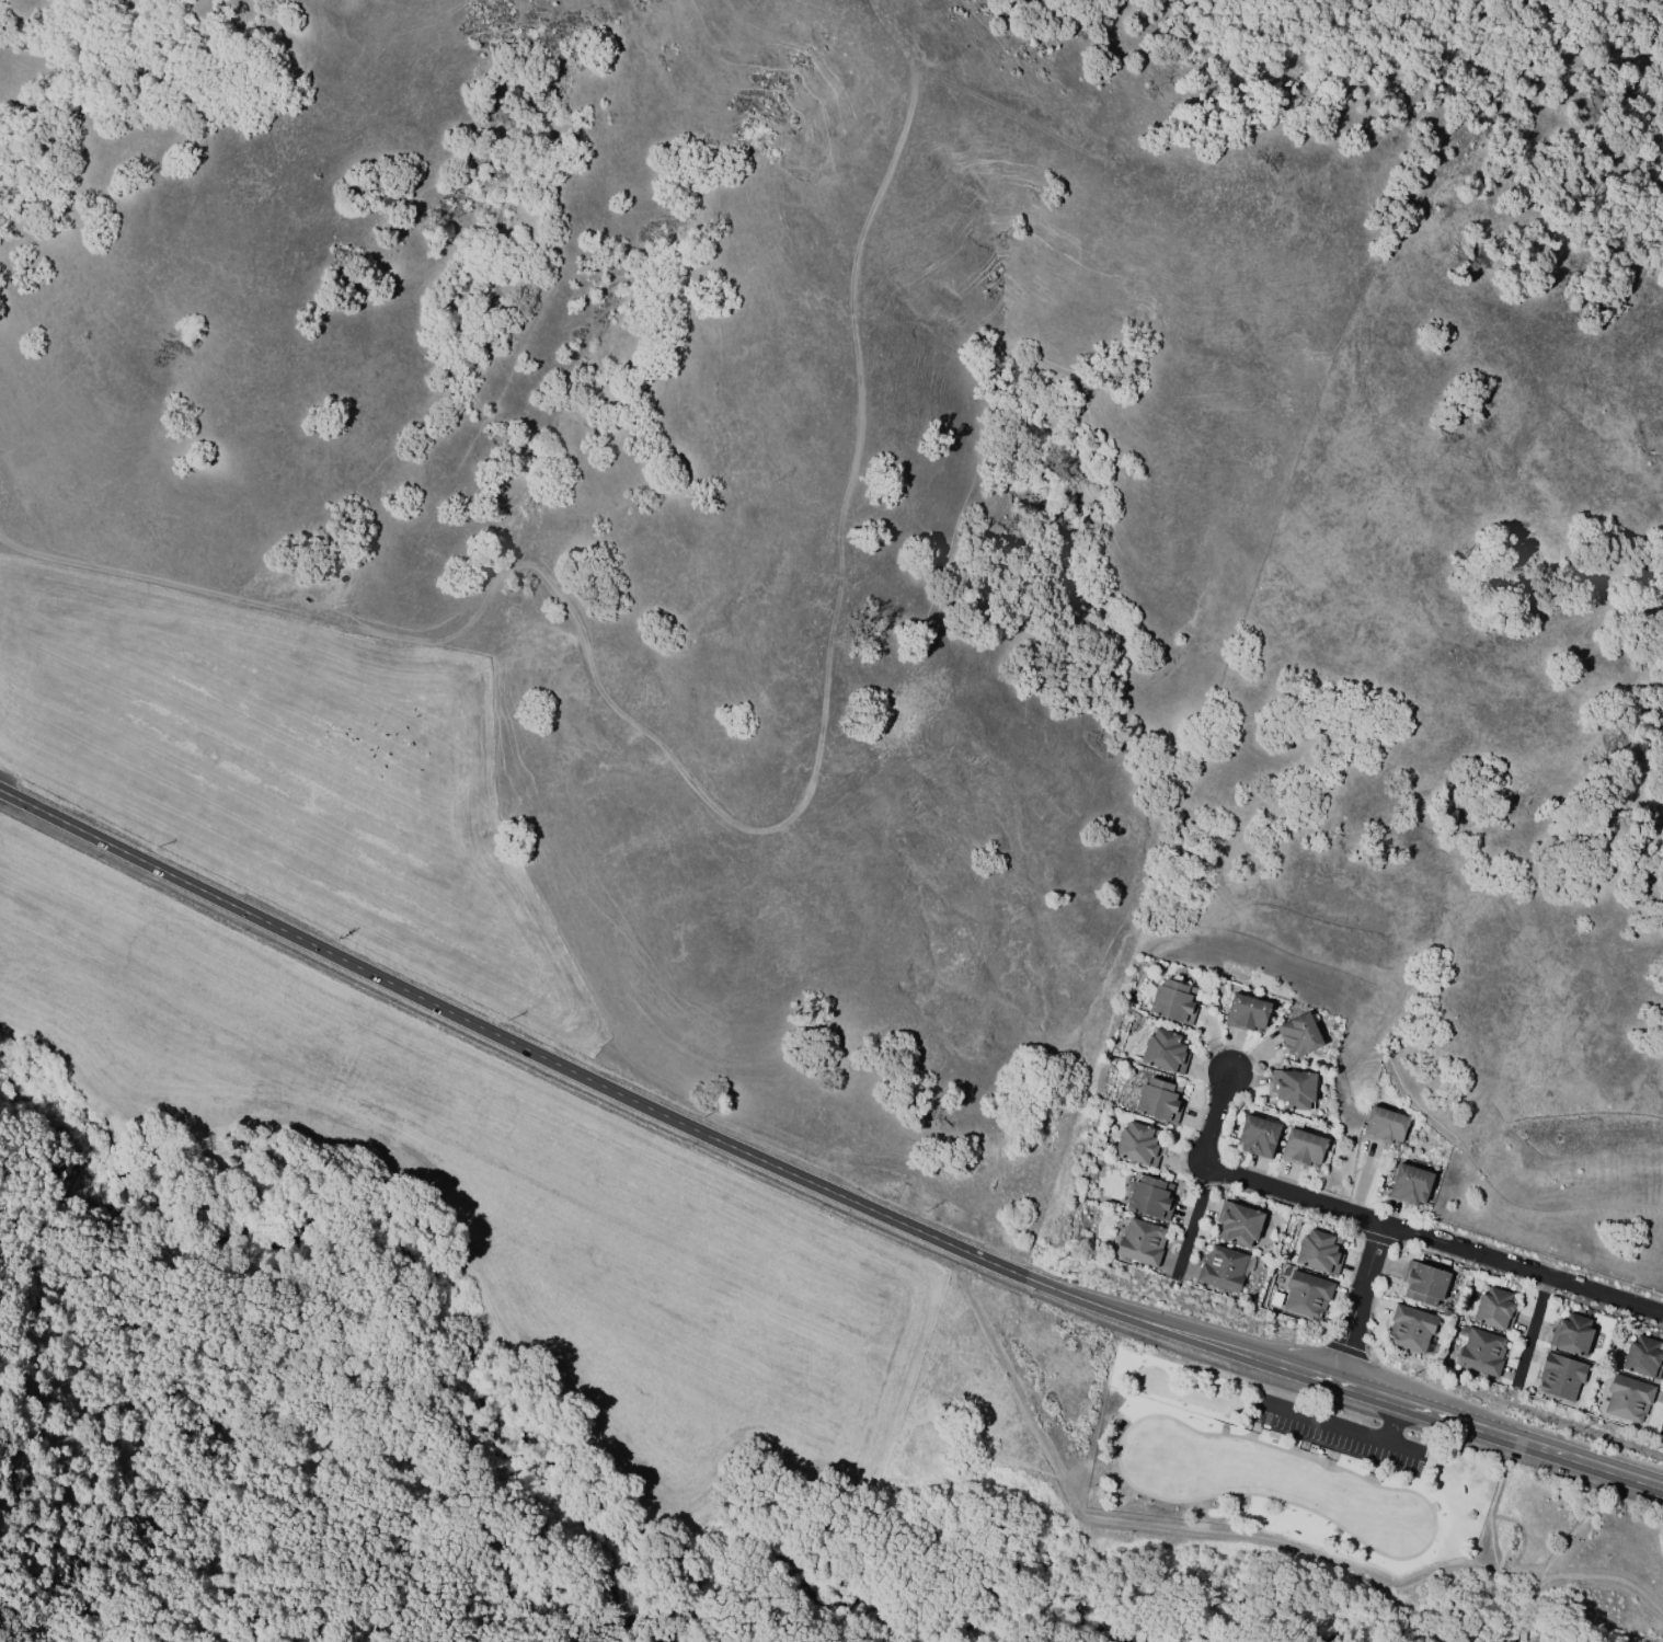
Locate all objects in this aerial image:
crop: (477, 1000)
building: (1173, 1001)
building: (1246, 1012)
building: (1298, 1035)
building: (1165, 1050)
building: (1293, 1088)
building: (1159, 1100)
road: (655, 1111)
building: (1384, 1126)
building: (1257, 1136)
building: (1138, 1144)
building: (1301, 1148)
road: (1246, 1179)
building: (1409, 1184)
building: (1150, 1197)
road: (1192, 1220)
building: (1239, 1222)
building: (1142, 1242)
building: (1319, 1252)
road: (133, 1258)
road: (1523, 1266)
building: (1223, 1268)
building: (1423, 1283)
building: (1307, 1295)
road: (1358, 1300)
building: (1494, 1309)
building: (1410, 1328)
road: (1532, 1329)
building: (1571, 1334)
building: (1481, 1353)
building: (1643, 1357)
park: (624, 1362)
building: (1560, 1376)
river: (446, 1387)
building: (1627, 1399)
road: (1394, 1421)
road: (1343, 1428)
road: (1499, 1432)
parking lot: (1341, 1434)
crop: (1573, 1550)
road: (1492, 1555)
river: (1181, 1586)
road: (698, 1607)

